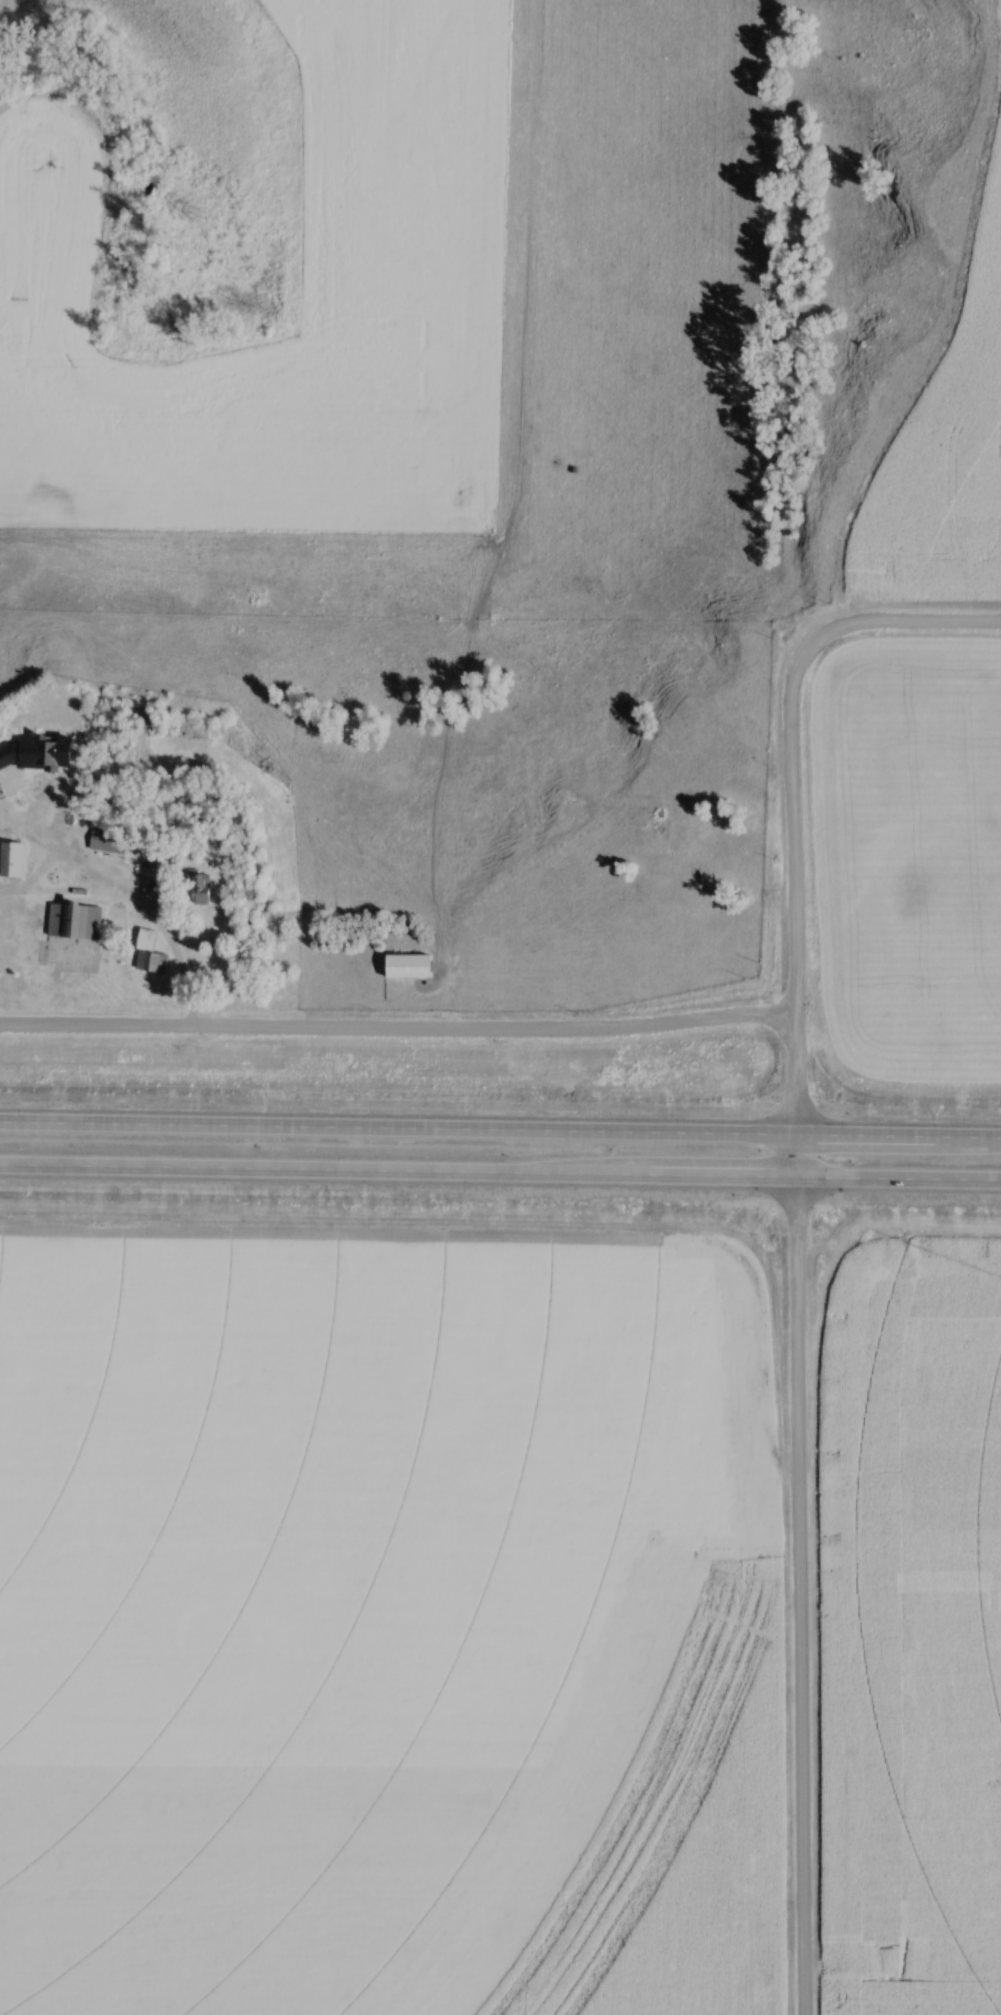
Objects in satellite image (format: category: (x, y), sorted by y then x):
road: (884, 627)
building: (60, 727)
building: (47, 772)
building: (34, 826)
building: (53, 832)
building: (112, 842)
building: (15, 859)
building: (206, 890)
road: (132, 891)
building: (78, 921)
building: (155, 963)
building: (413, 967)
road: (397, 1033)
road: (500, 1128)
road: (500, 1174)
road: (797, 1346)

